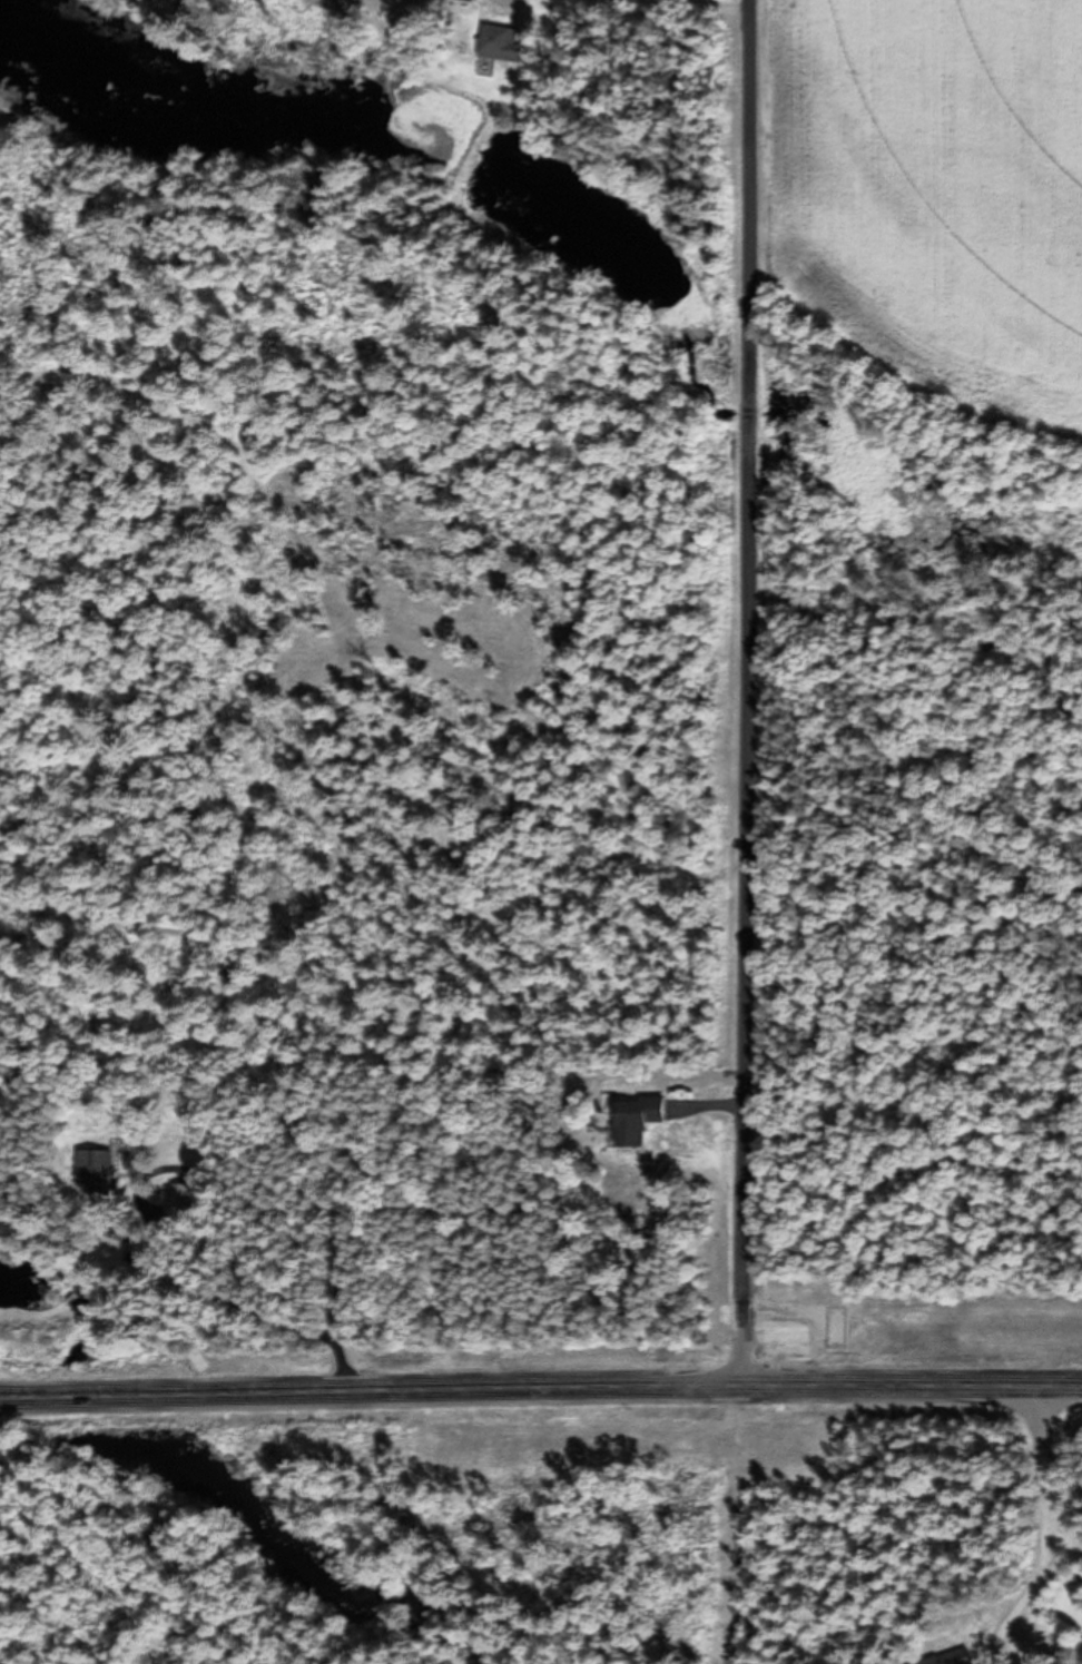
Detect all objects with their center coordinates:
building: (455, 2)
road: (313, 14)
road: (637, 38)
building: (492, 45)
road: (747, 696)
building: (631, 1123)
building: (96, 1174)
road: (572, 1259)
road: (540, 1394)
road: (1032, 1530)
road: (1051, 1611)
building: (1081, 1619)
building: (953, 1660)

